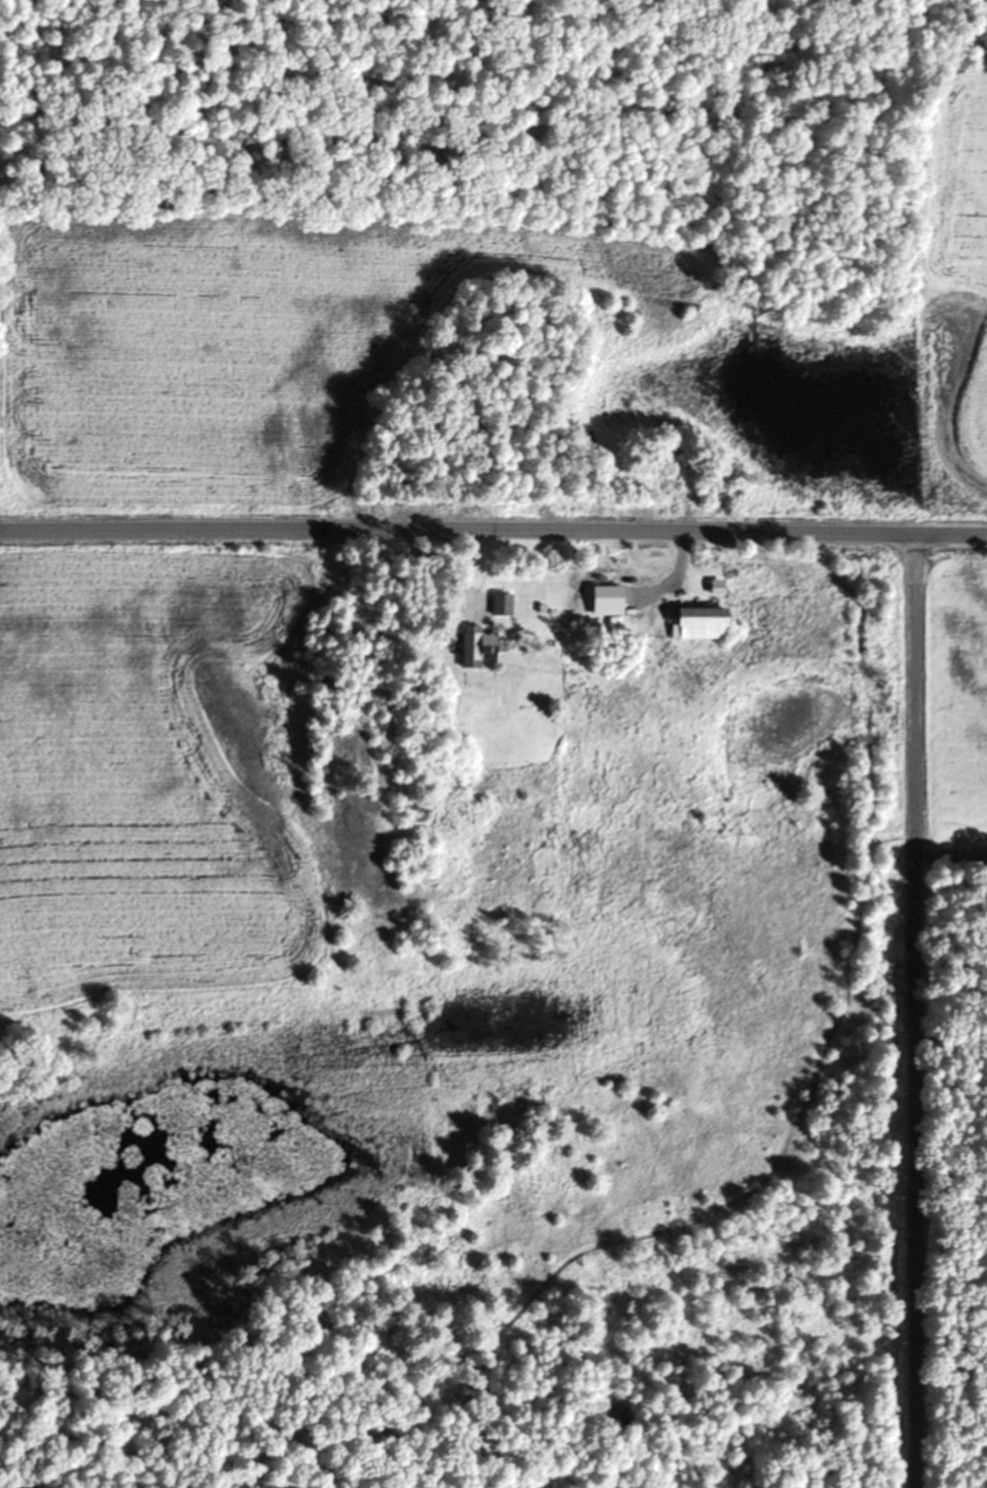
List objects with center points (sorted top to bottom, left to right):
road: (493, 538)
building: (504, 605)
building: (704, 624)
building: (480, 647)
road: (904, 1016)

